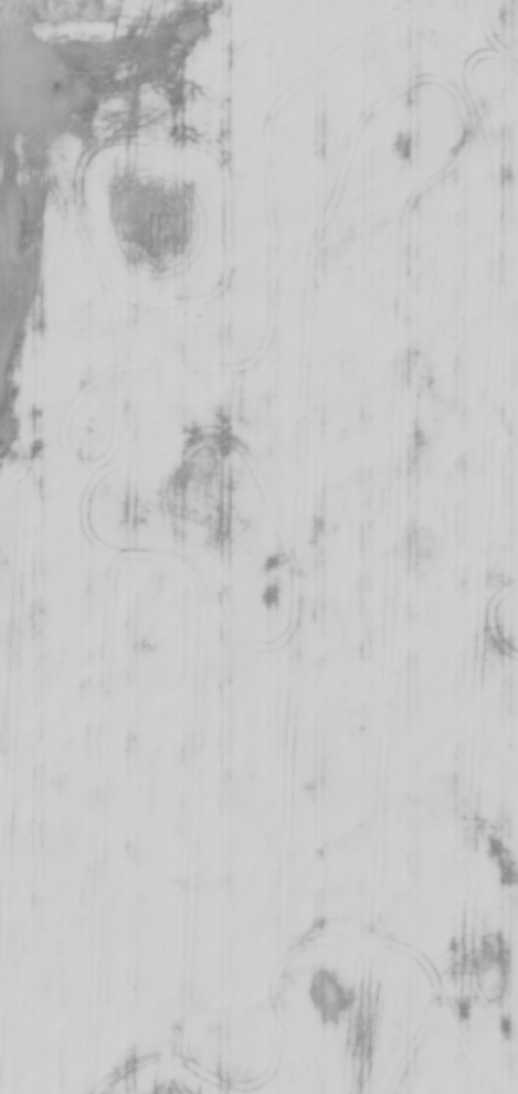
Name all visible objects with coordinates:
road: (1, 13)

